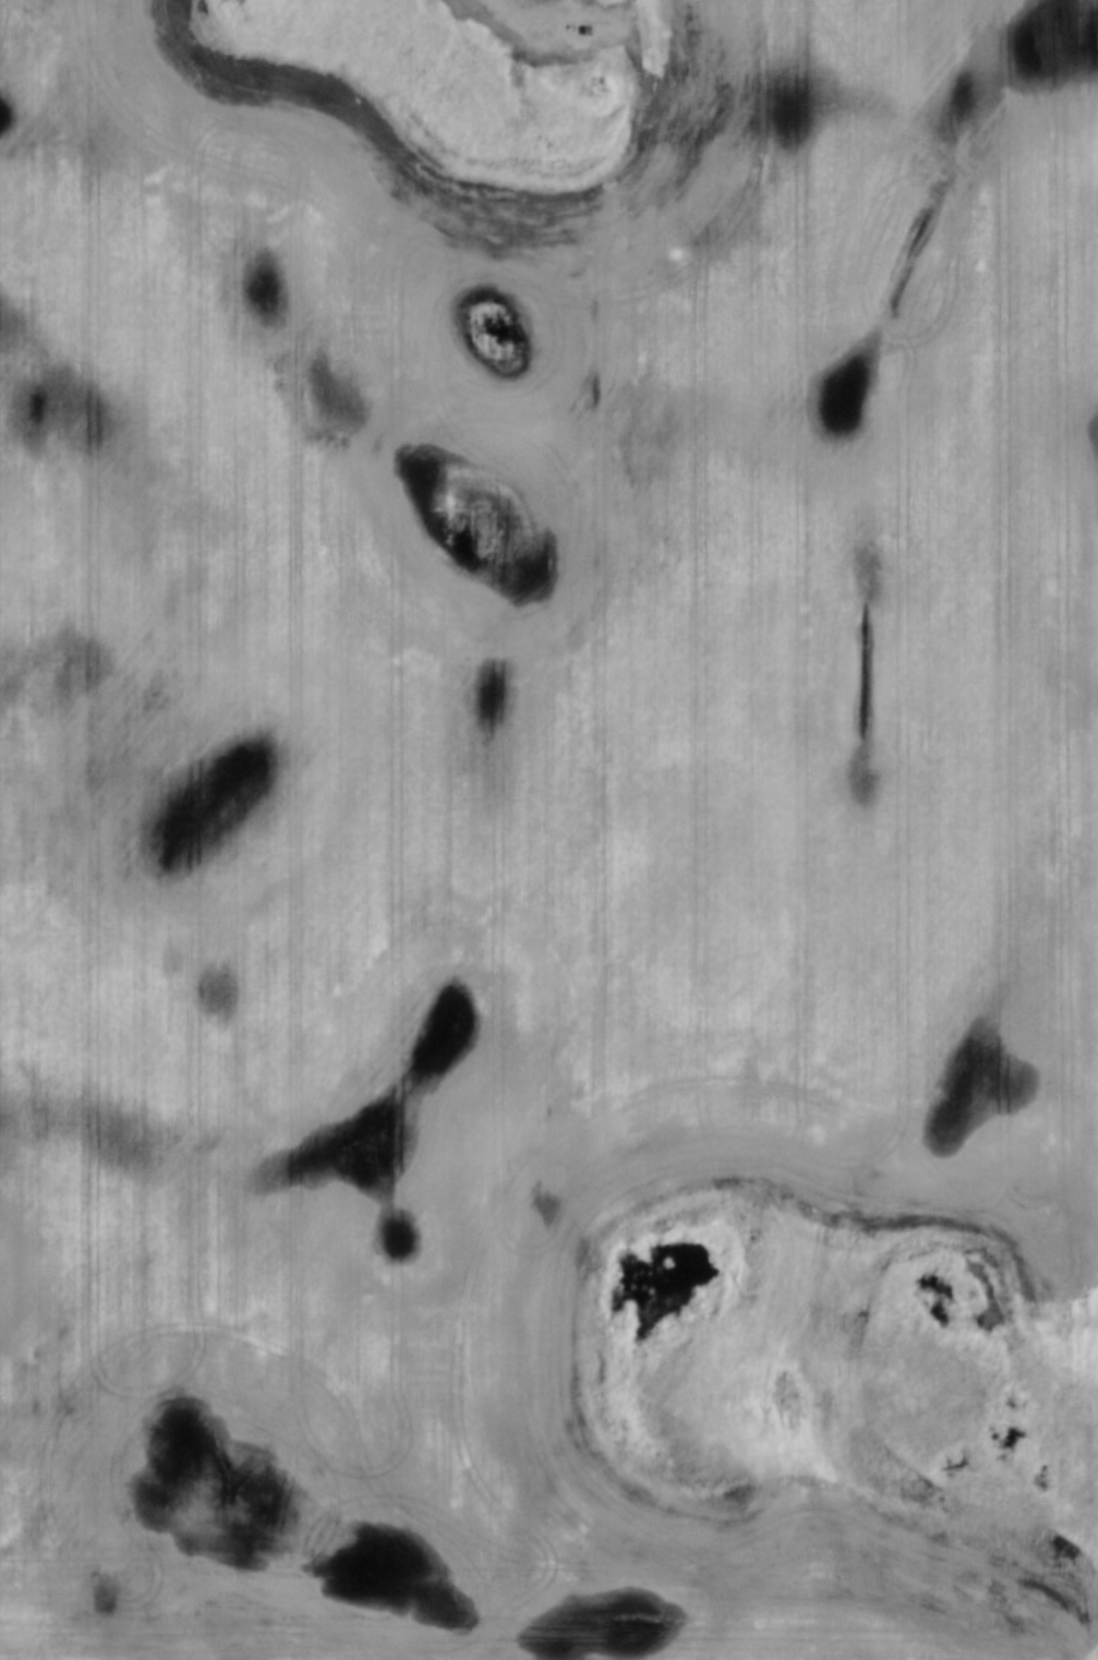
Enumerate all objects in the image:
building: (784, 741)

